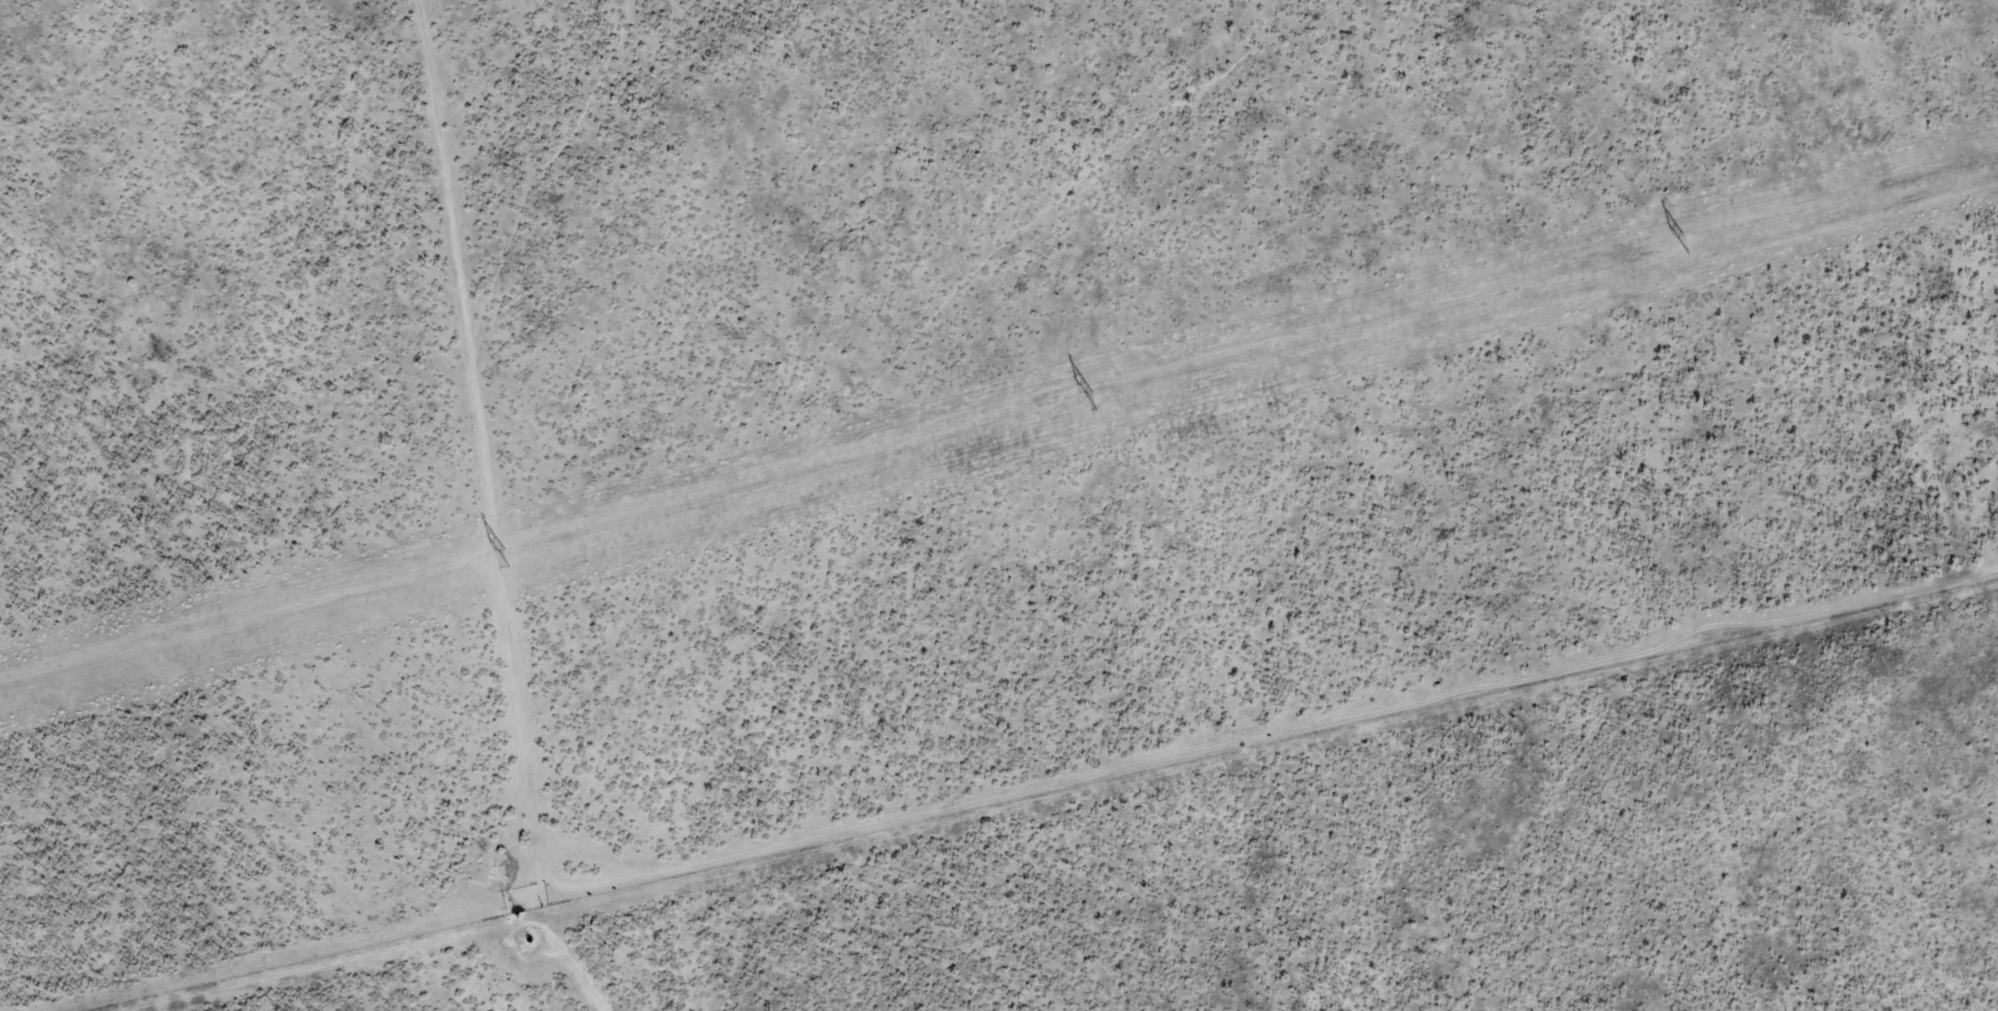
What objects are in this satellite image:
power tower: (1687, 244)
power tower: (1094, 399)
power tower: (508, 556)

